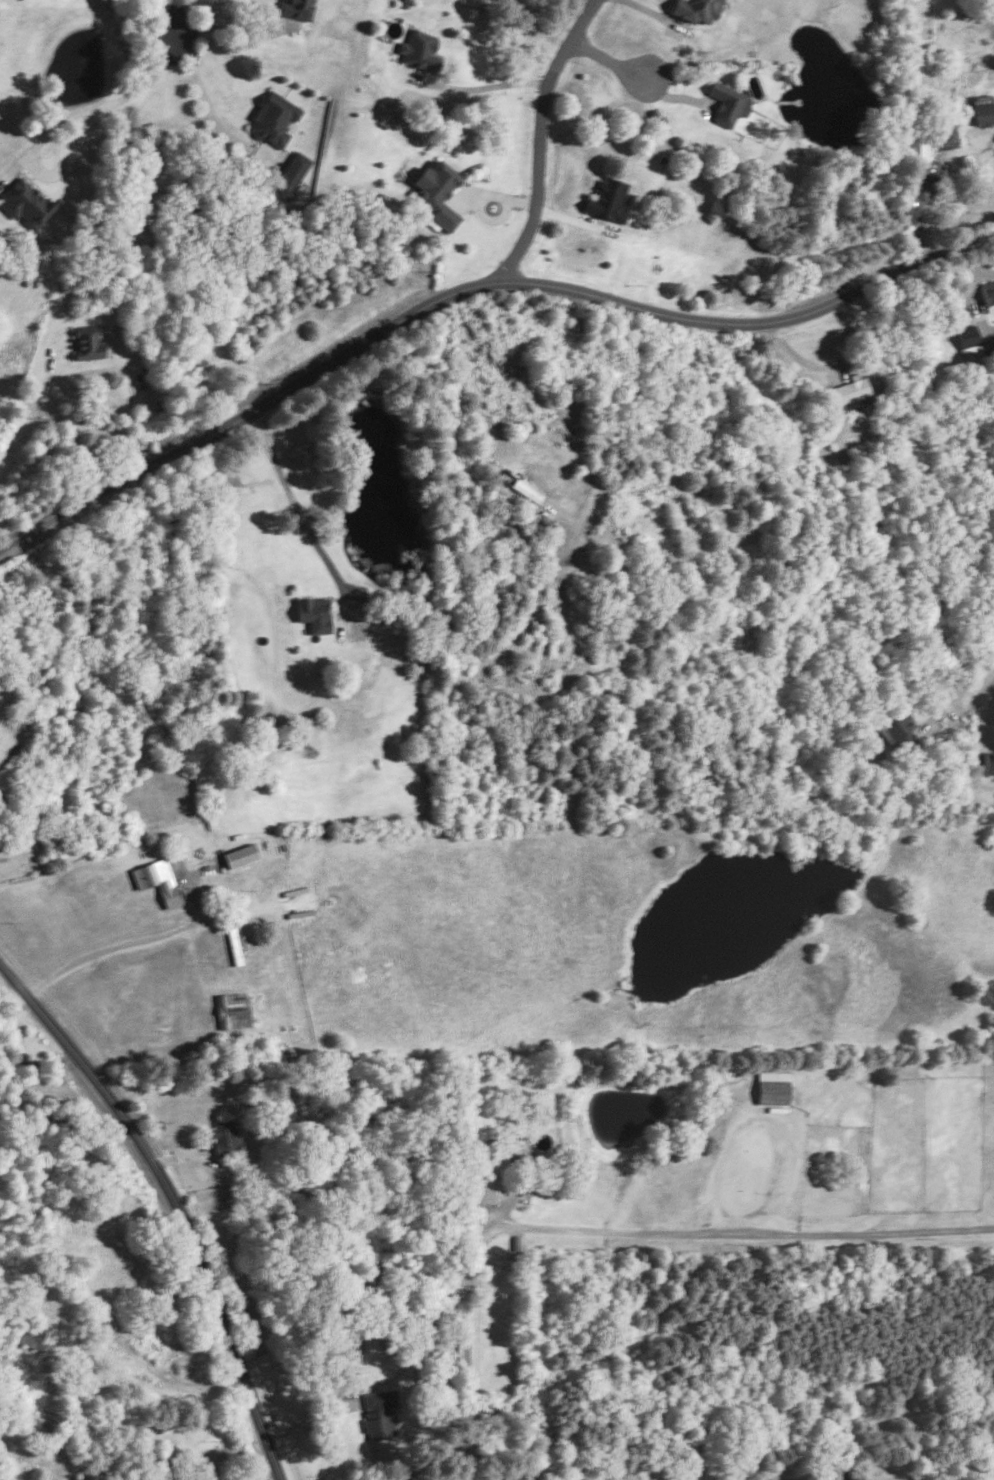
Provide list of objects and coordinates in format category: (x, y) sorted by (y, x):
building: (296, 8)
building: (696, 9)
road: (175, 17)
road: (234, 28)
building: (420, 49)
road: (607, 58)
road: (483, 85)
road: (106, 102)
building: (728, 103)
road: (208, 106)
building: (983, 113)
building: (273, 118)
road: (532, 134)
building: (945, 140)
building: (917, 153)
building: (291, 173)
building: (438, 193)
building: (608, 200)
building: (25, 203)
road: (474, 285)
building: (988, 294)
building: (968, 340)
building: (87, 342)
building: (851, 390)
road: (601, 425)
road: (67, 426)
building: (526, 490)
road: (294, 503)
building: (314, 613)
building: (608, 641)
road: (962, 689)
road: (990, 712)
building: (900, 730)
building: (989, 761)
building: (240, 854)
building: (157, 880)
road: (138, 940)
building: (232, 1011)
building: (772, 1087)
building: (227, 1138)
building: (519, 1148)
road: (176, 1201)
road: (614, 1229)
building: (32, 1336)
building: (380, 1412)
building: (521, 1478)

